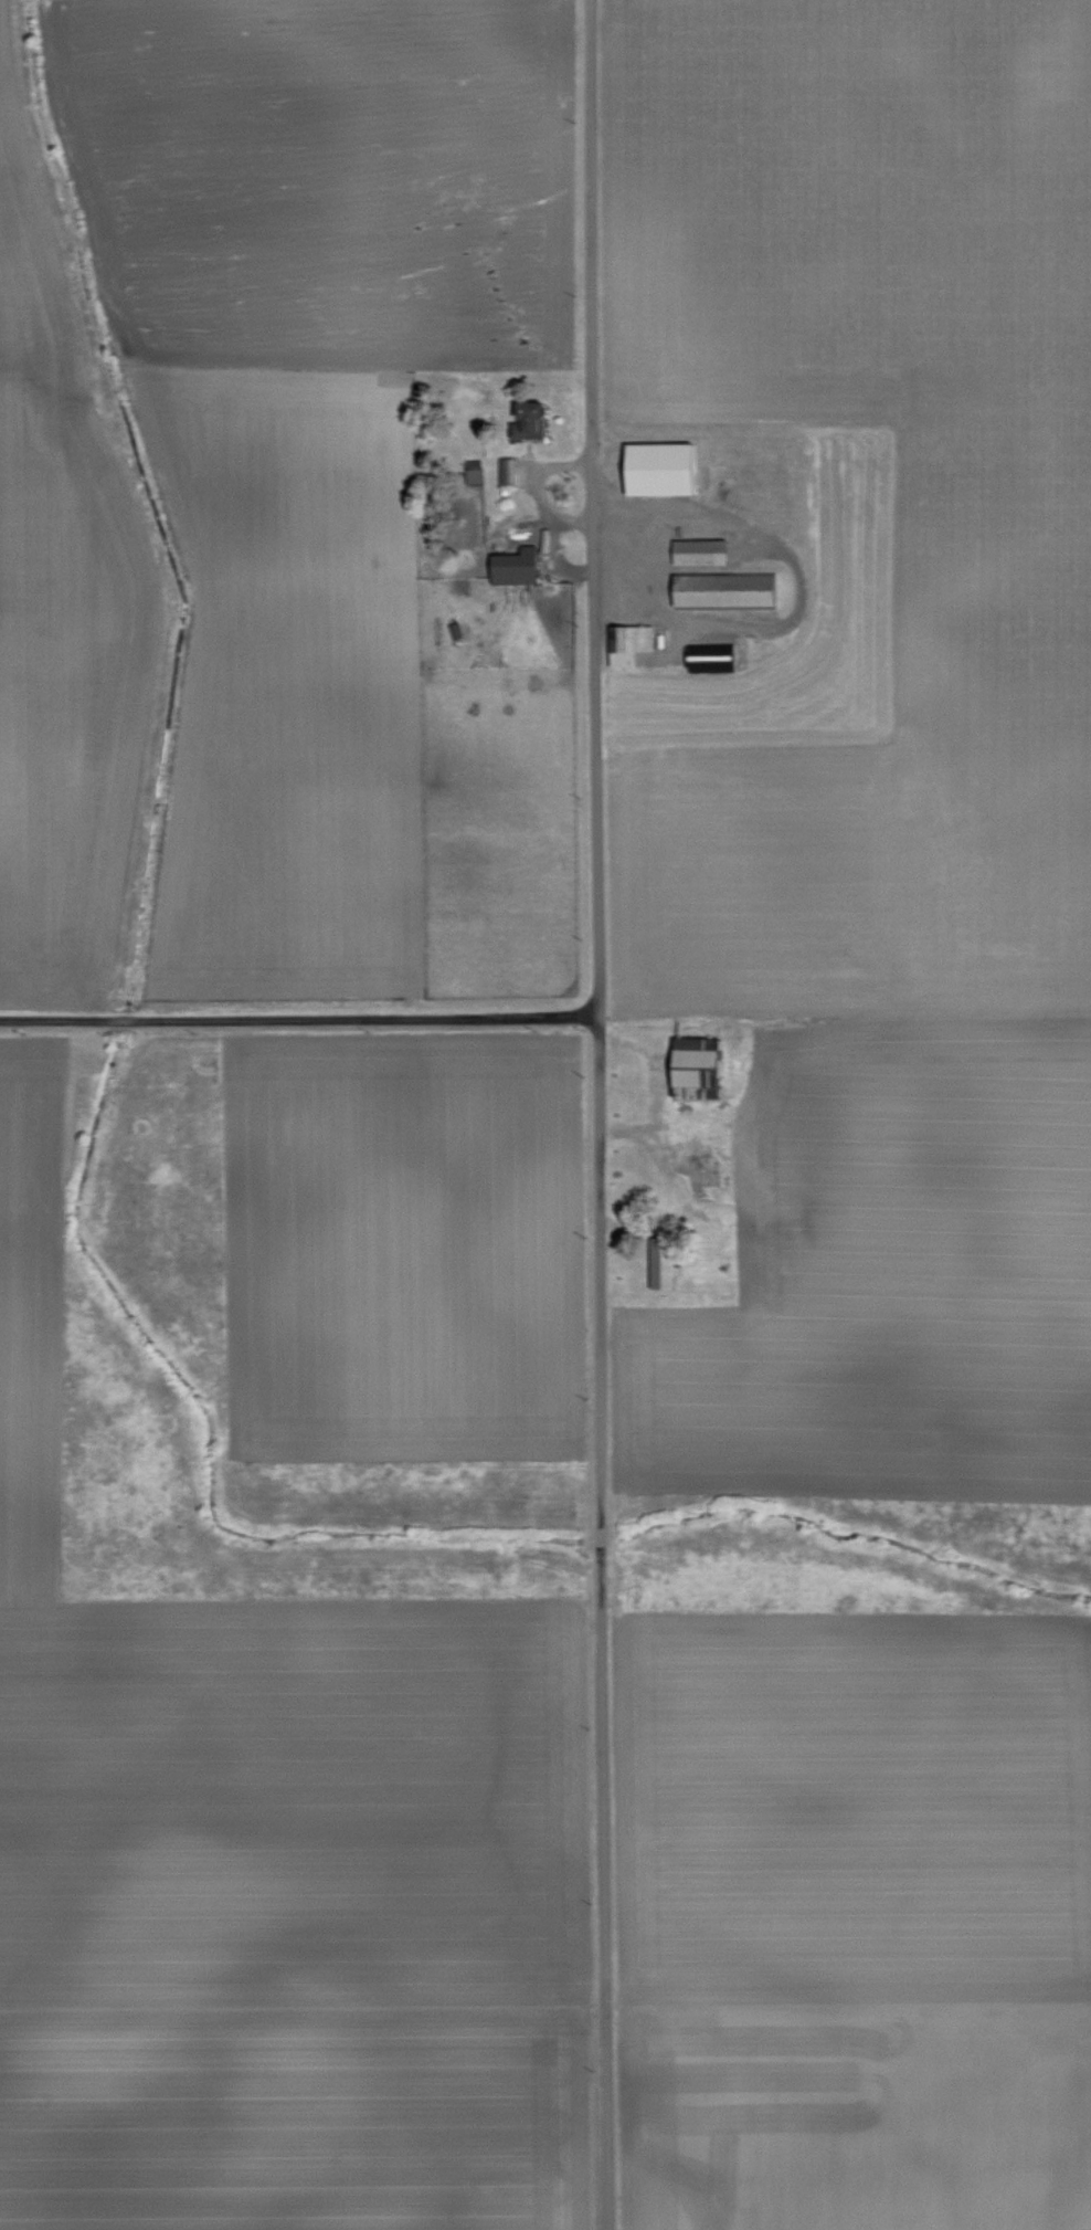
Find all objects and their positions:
road: (590, 519)
road: (296, 1014)
road: (592, 1114)

